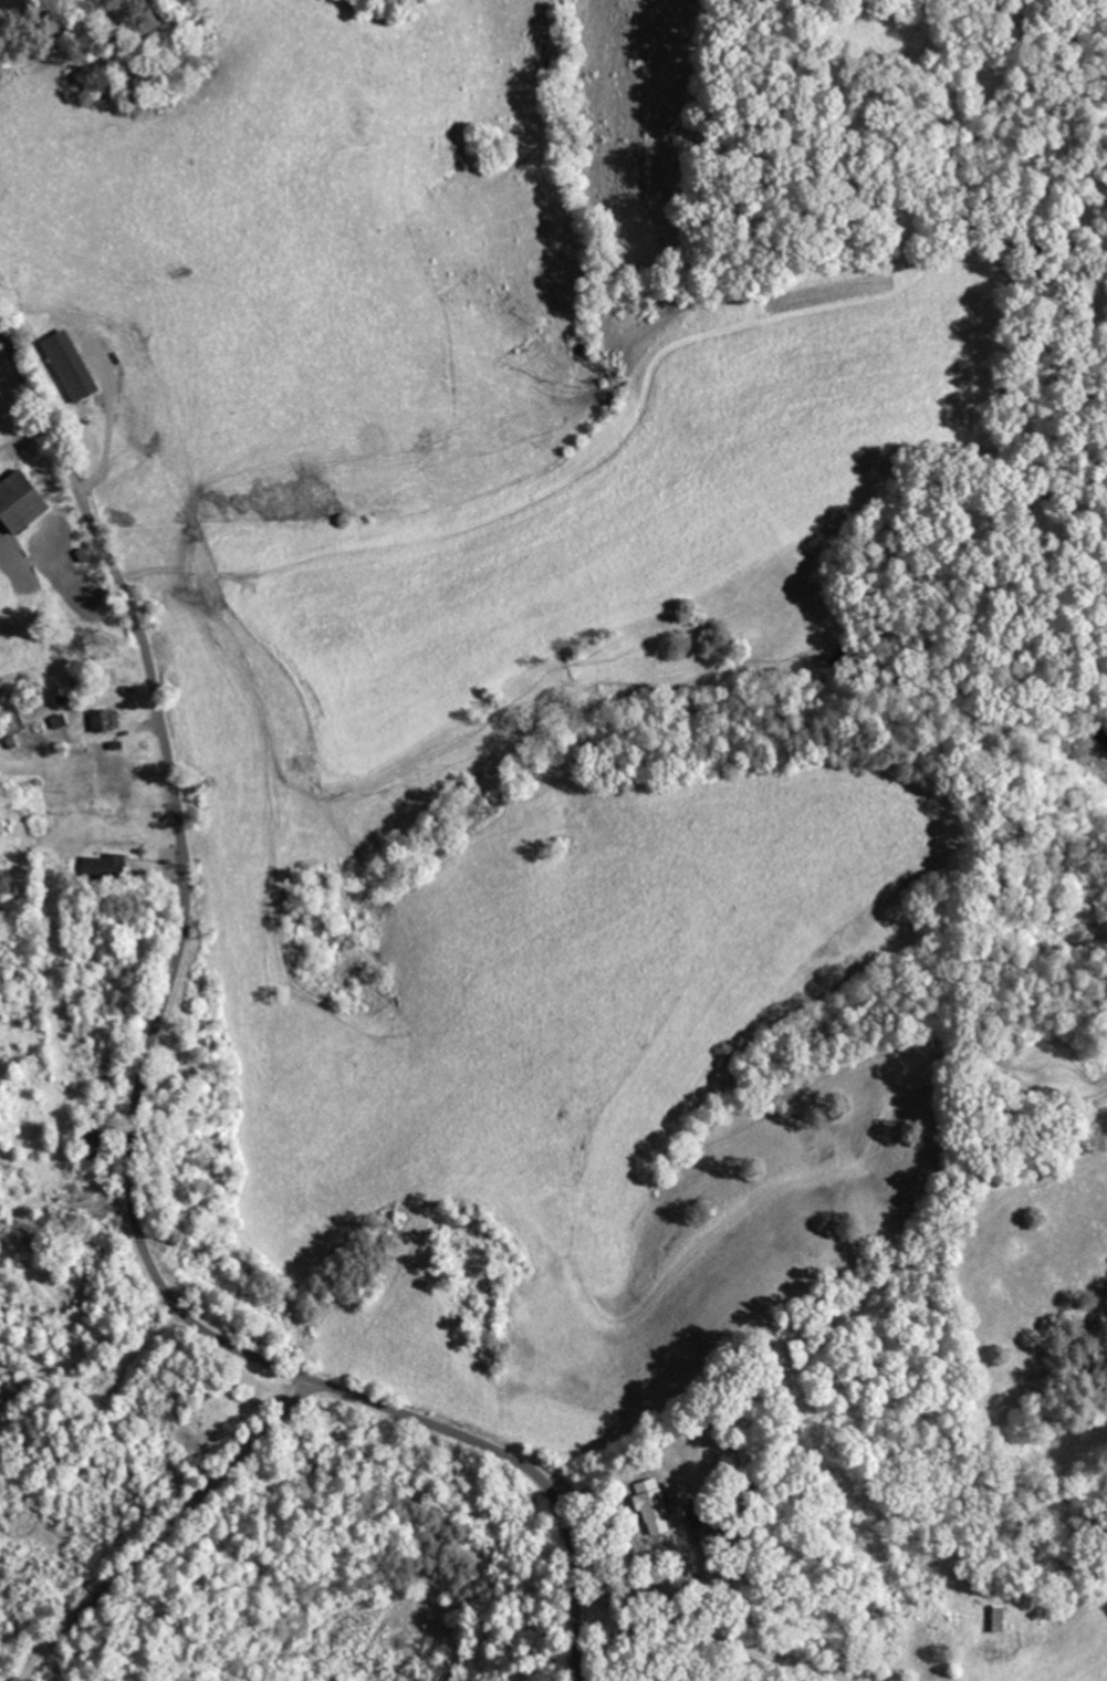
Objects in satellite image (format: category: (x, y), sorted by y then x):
building: (64, 365)
building: (17, 503)
building: (104, 865)
road: (134, 1110)
building: (649, 1505)
road: (163, 1531)

